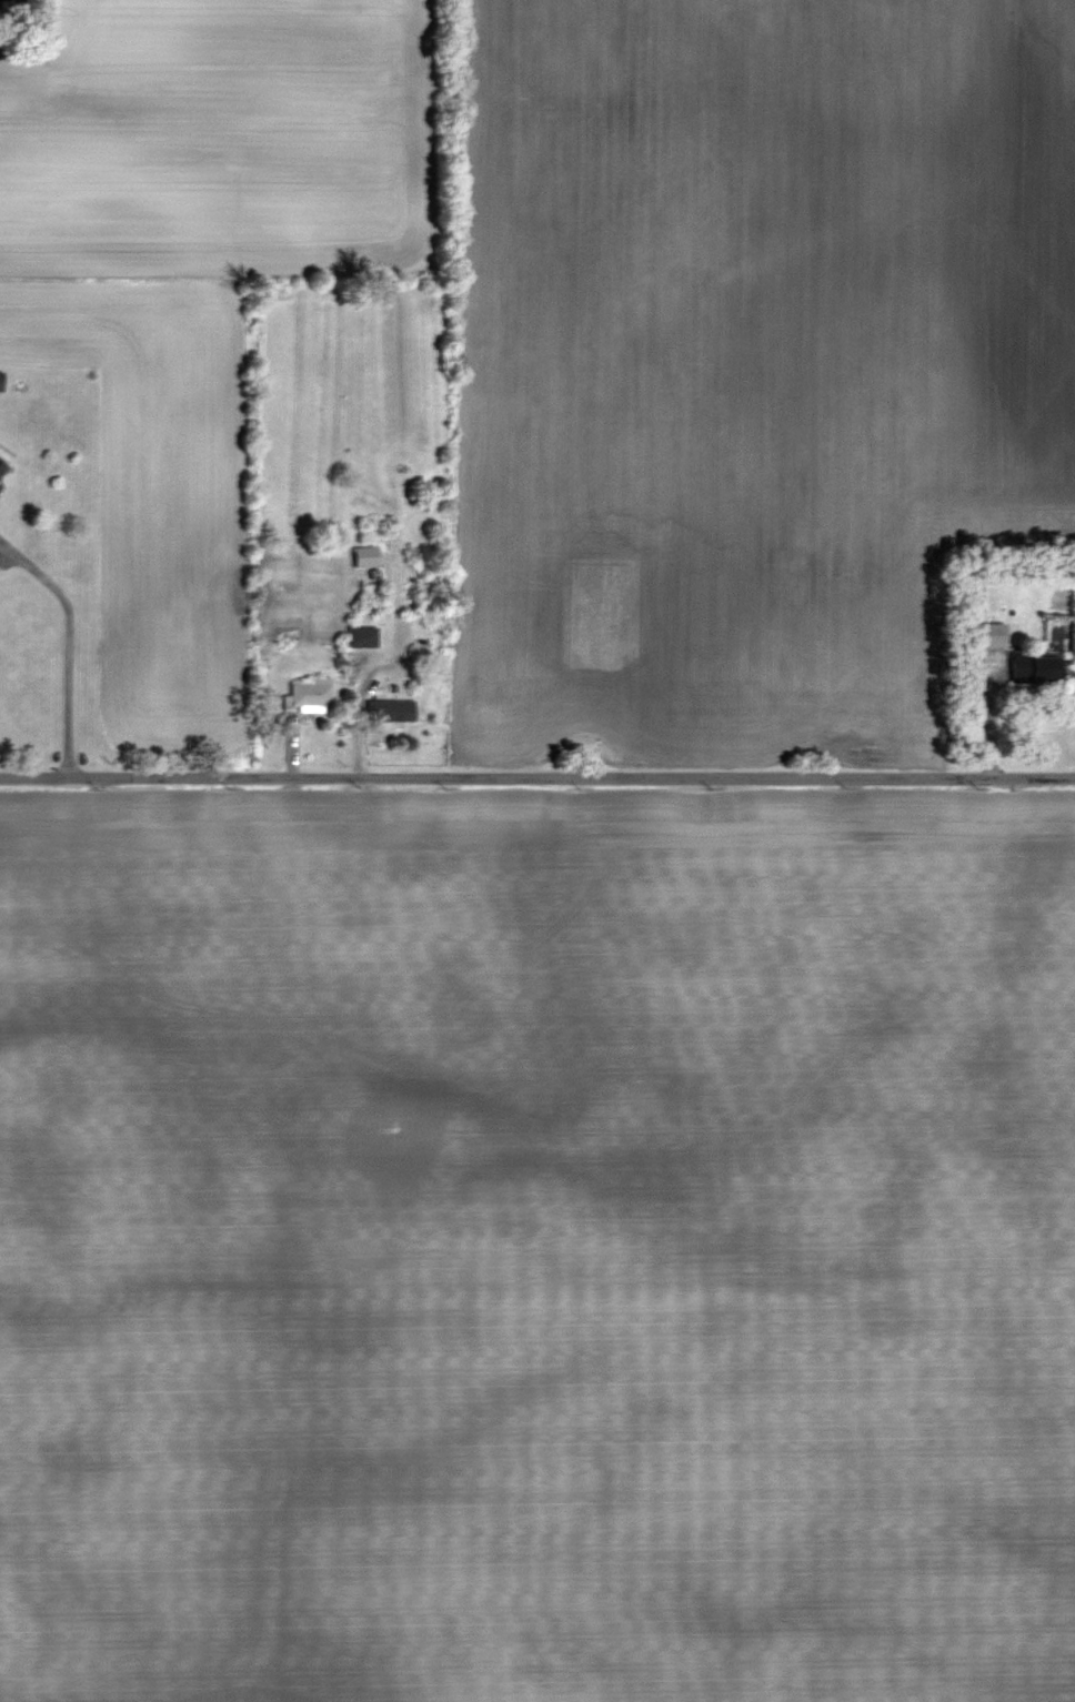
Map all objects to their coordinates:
building: (2, 469)
building: (365, 556)
building: (983, 635)
building: (362, 637)
road: (67, 647)
road: (375, 666)
building: (1032, 668)
building: (311, 692)
building: (391, 711)
road: (537, 778)

